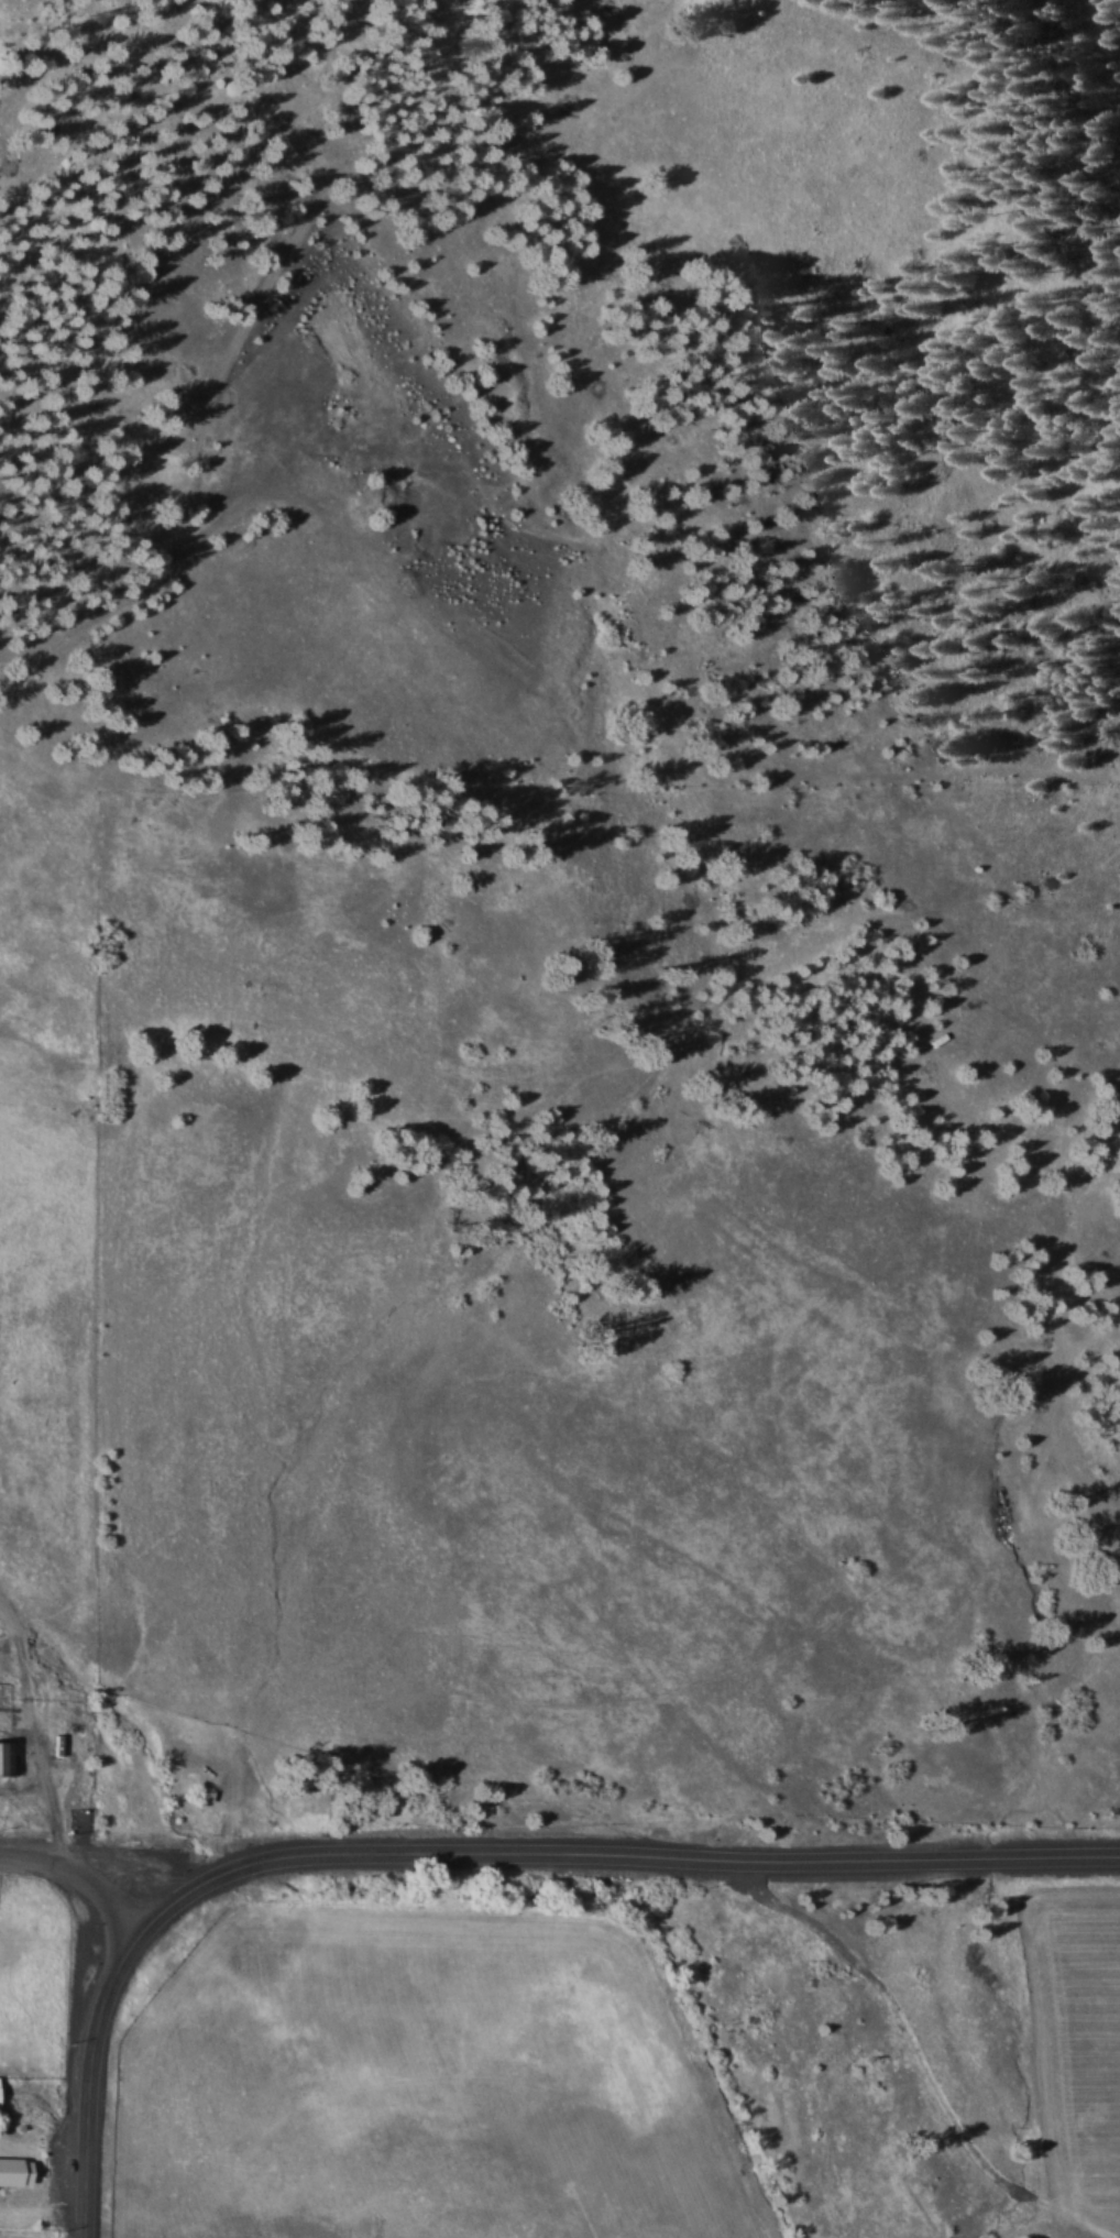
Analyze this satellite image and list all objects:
building: (9, 1758)
road: (26, 1823)
road: (619, 1852)
road: (78, 1875)
road: (91, 2077)
building: (14, 2171)

